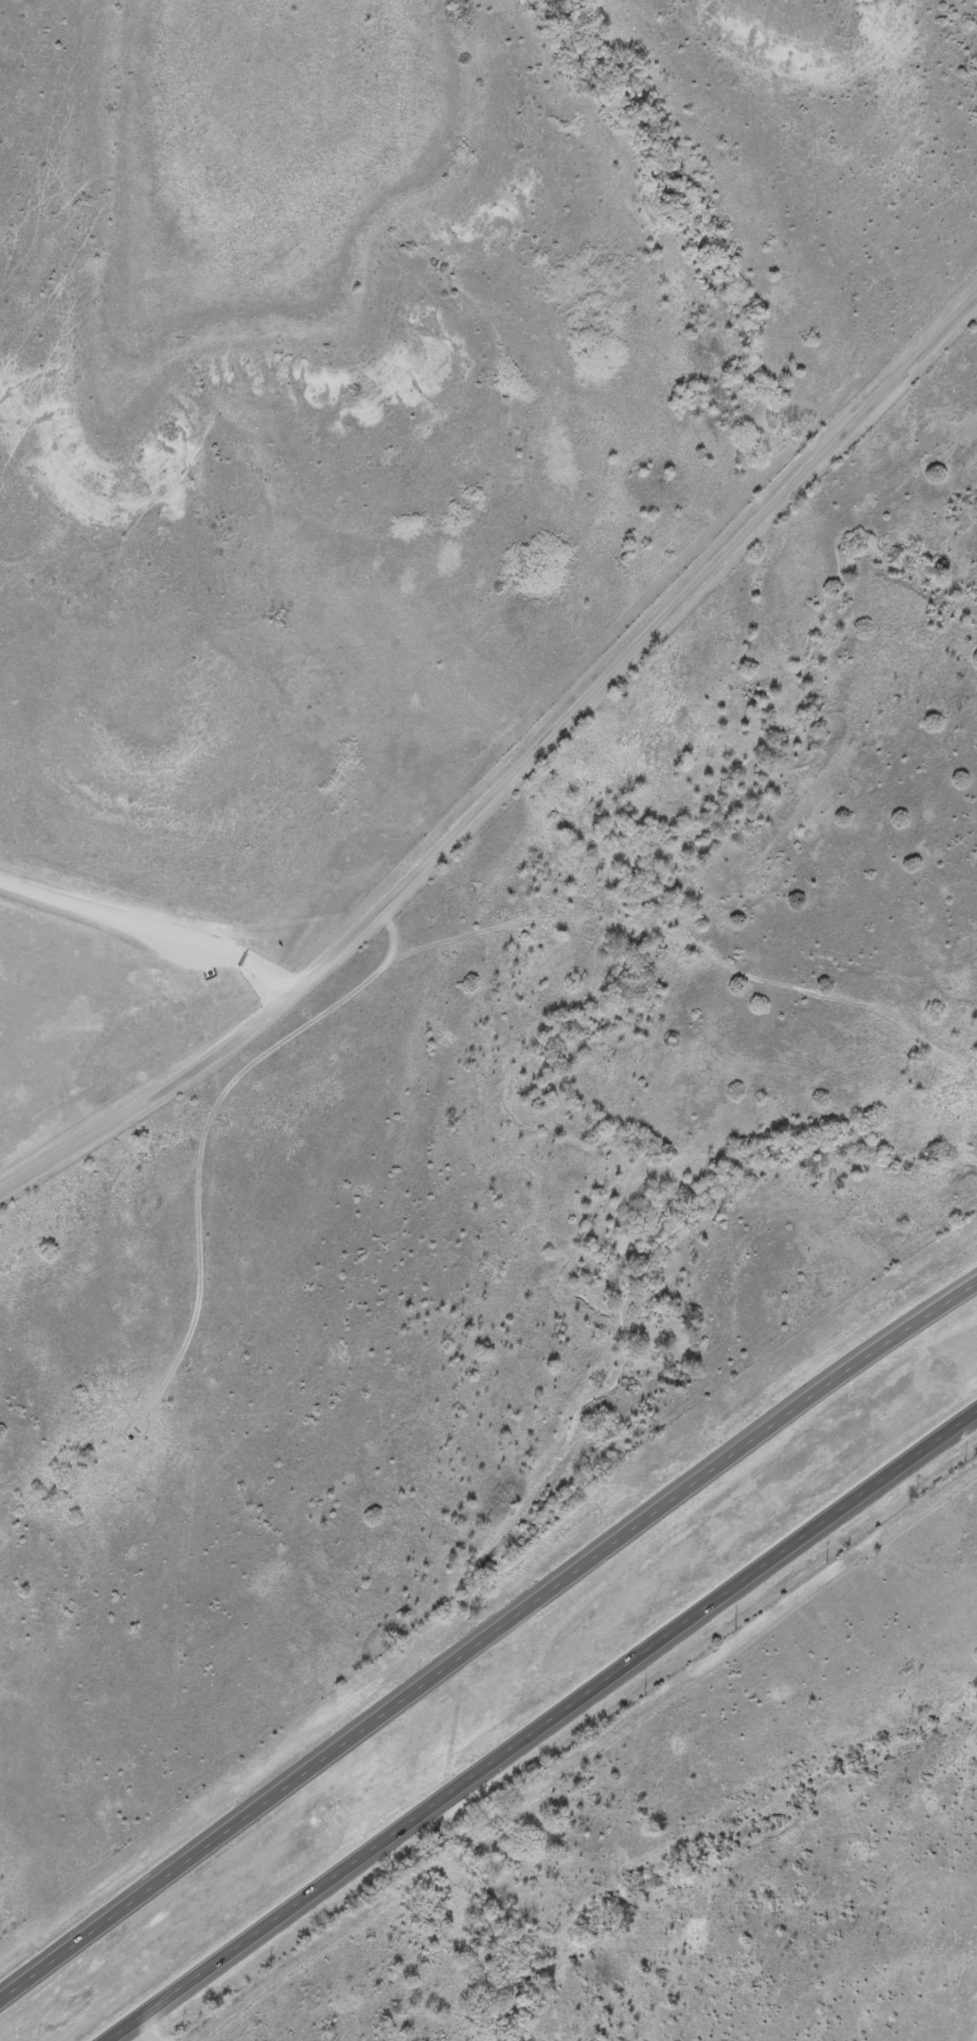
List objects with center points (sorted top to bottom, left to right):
road: (513, 765)
road: (149, 931)
road: (234, 1071)
road: (159, 1371)
road: (190, 1380)
road: (486, 1635)
road: (540, 1724)
road: (145, 2028)

